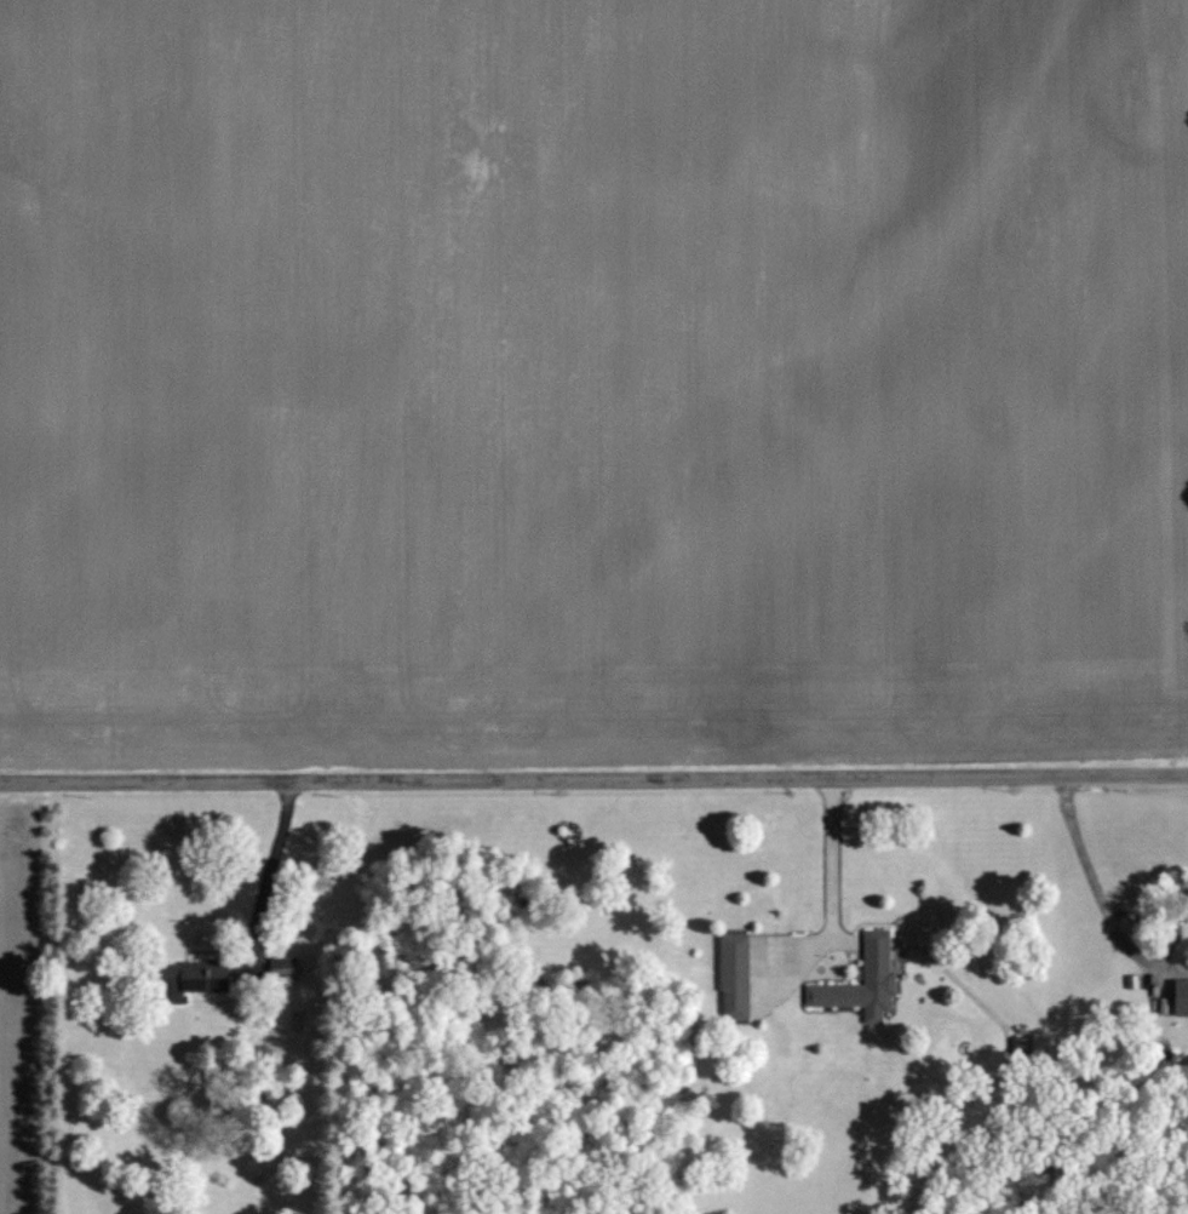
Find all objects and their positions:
road: (593, 779)
road: (1094, 882)
road: (833, 893)
building: (291, 967)
building: (736, 977)
building: (882, 977)
building: (195, 978)
building: (1183, 997)

